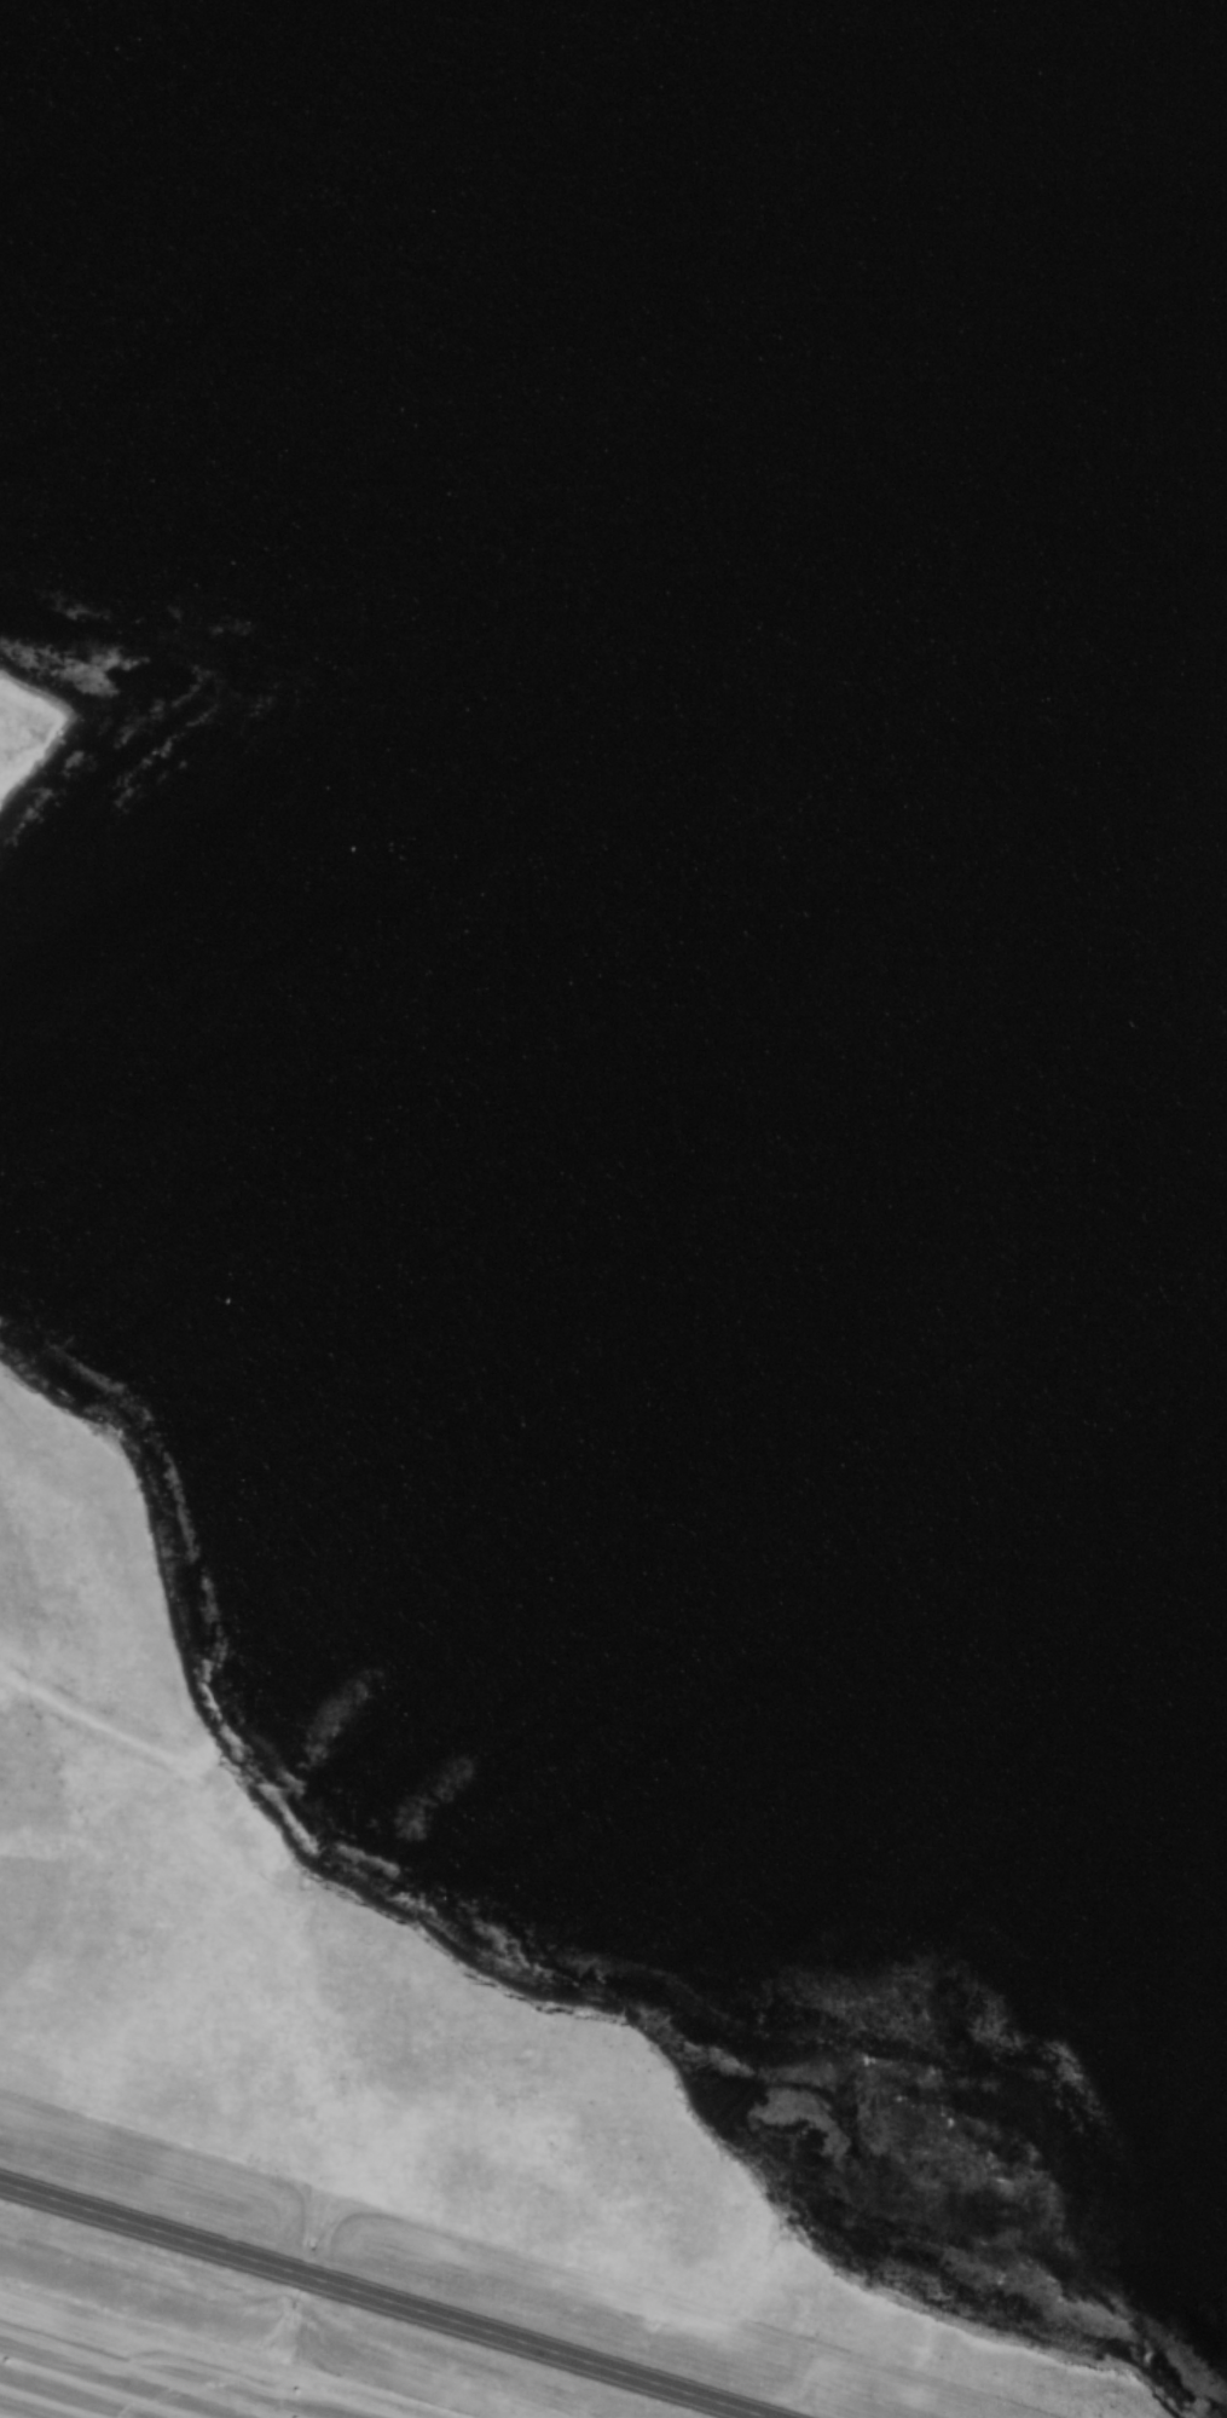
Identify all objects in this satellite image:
road: (371, 2304)

